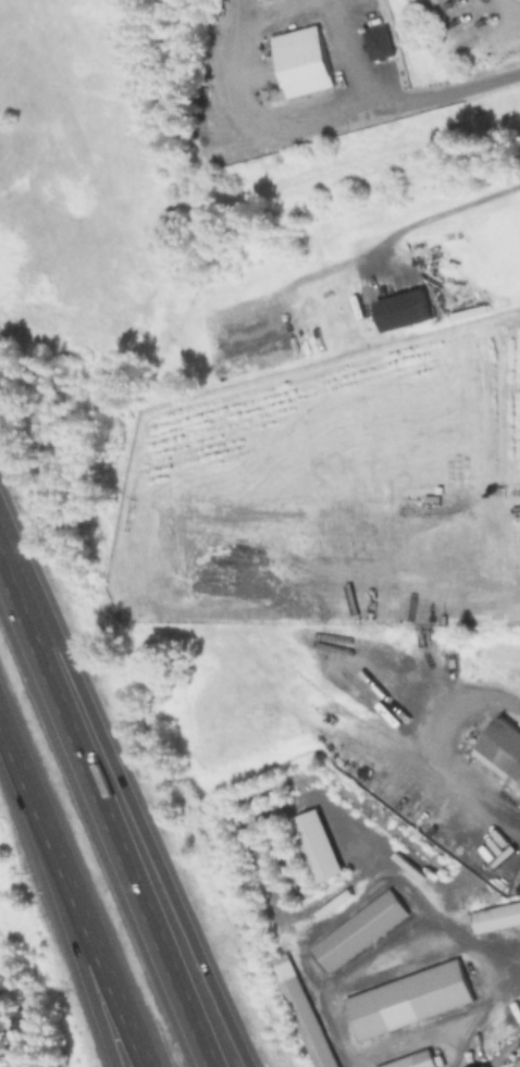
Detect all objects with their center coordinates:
building: (260, 0)
road: (245, 14)
building: (376, 42)
road: (347, 53)
building: (302, 61)
road: (302, 117)
road: (445, 216)
building: (403, 311)
road: (442, 747)
building: (502, 748)
road: (125, 808)
road: (100, 828)
road: (252, 829)
building: (313, 845)
road: (339, 901)
road: (66, 909)
building: (496, 917)
building: (359, 930)
road: (73, 952)
road: (481, 954)
road: (381, 961)
building: (408, 998)
building: (300, 1010)
road: (438, 1030)
road: (454, 1046)
building: (411, 1059)
building: (515, 1064)

